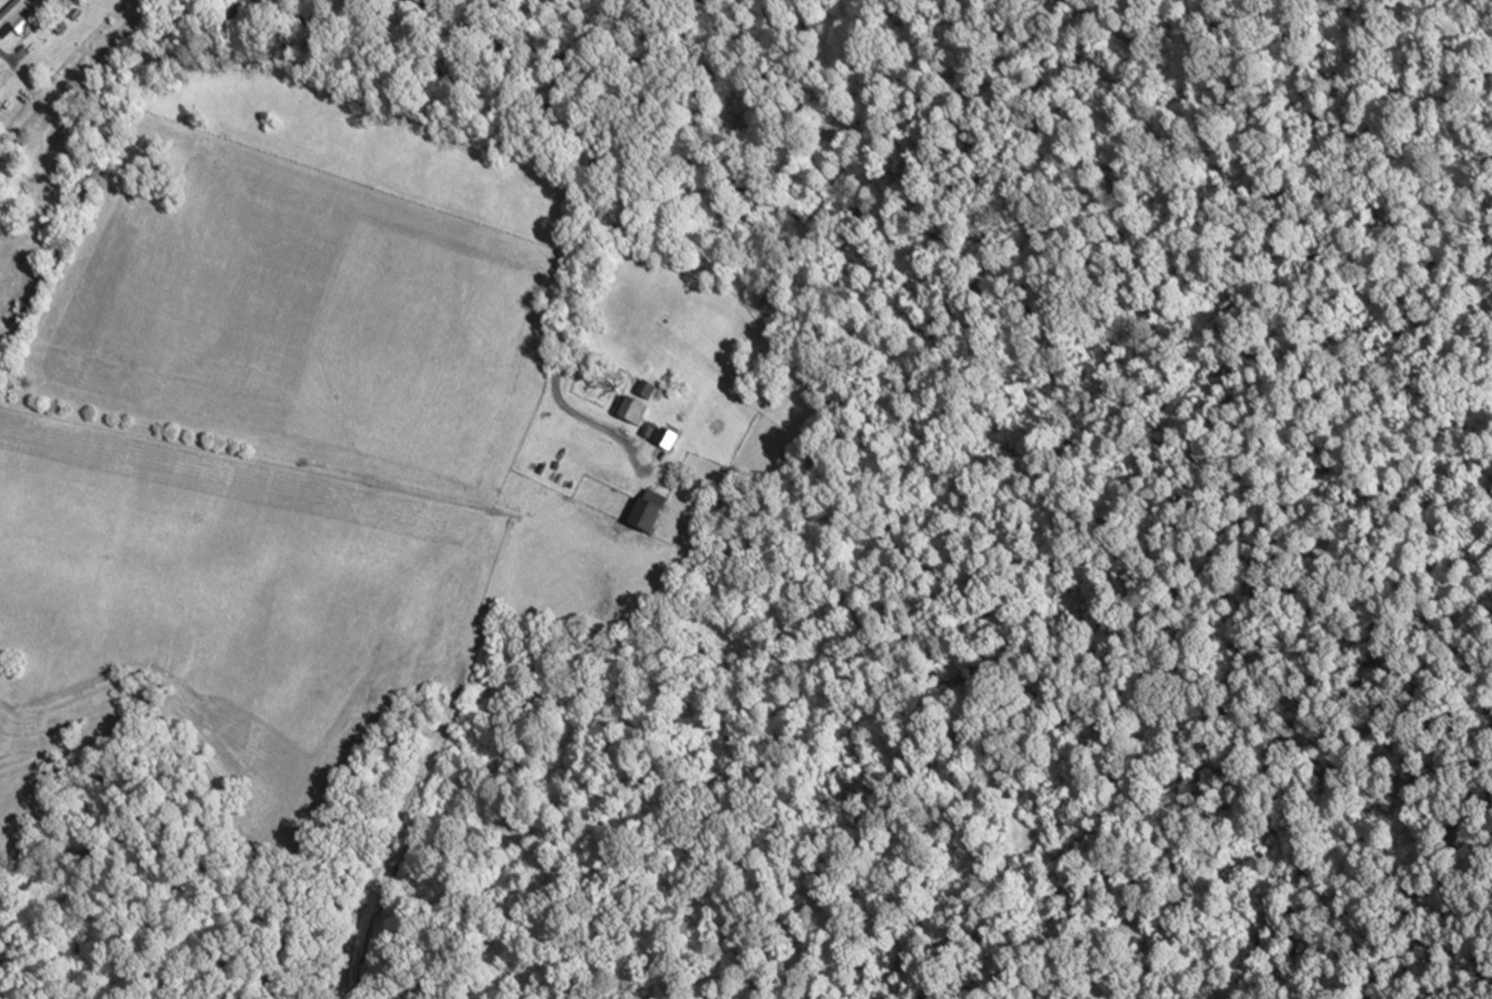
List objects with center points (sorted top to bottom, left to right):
building: (14, 19)
road: (99, 156)
road: (592, 181)
building: (639, 389)
building: (626, 410)
building: (645, 511)
road: (1204, 589)

